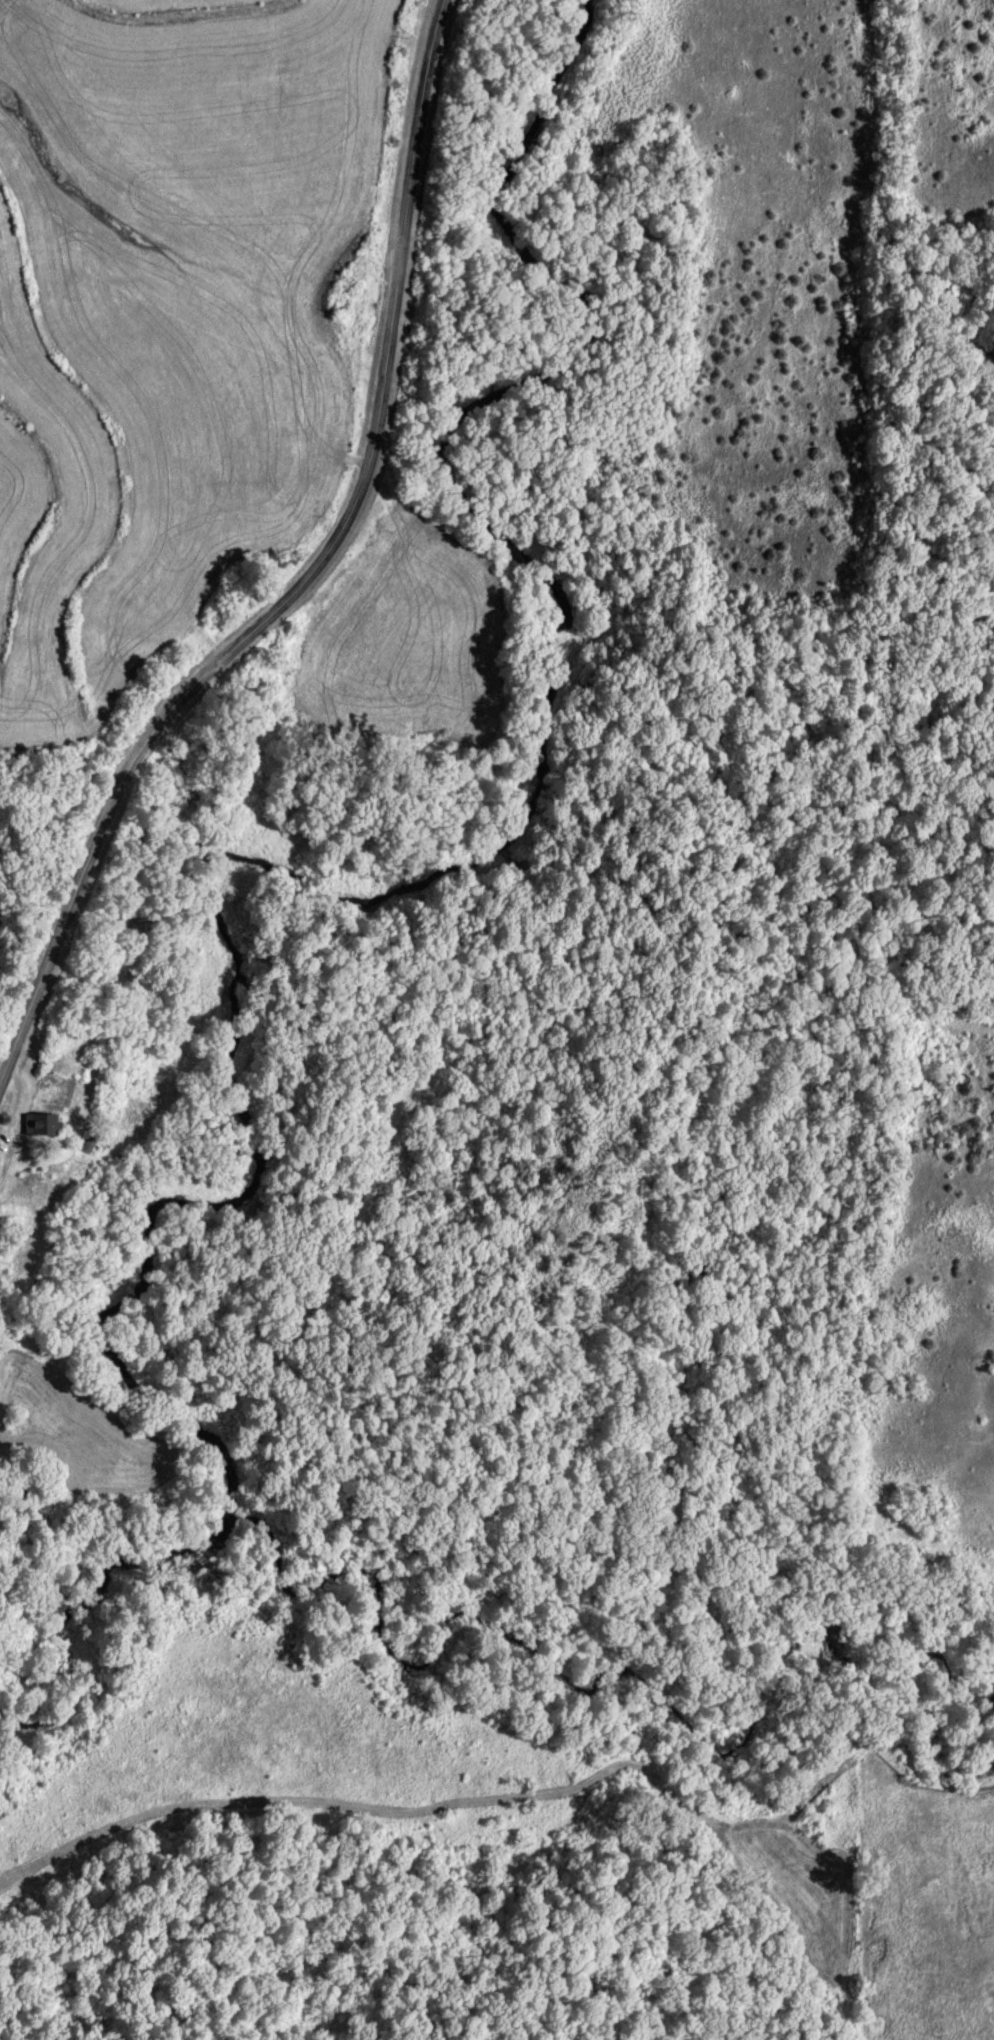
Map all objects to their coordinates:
road: (306, 572)
building: (36, 1121)

